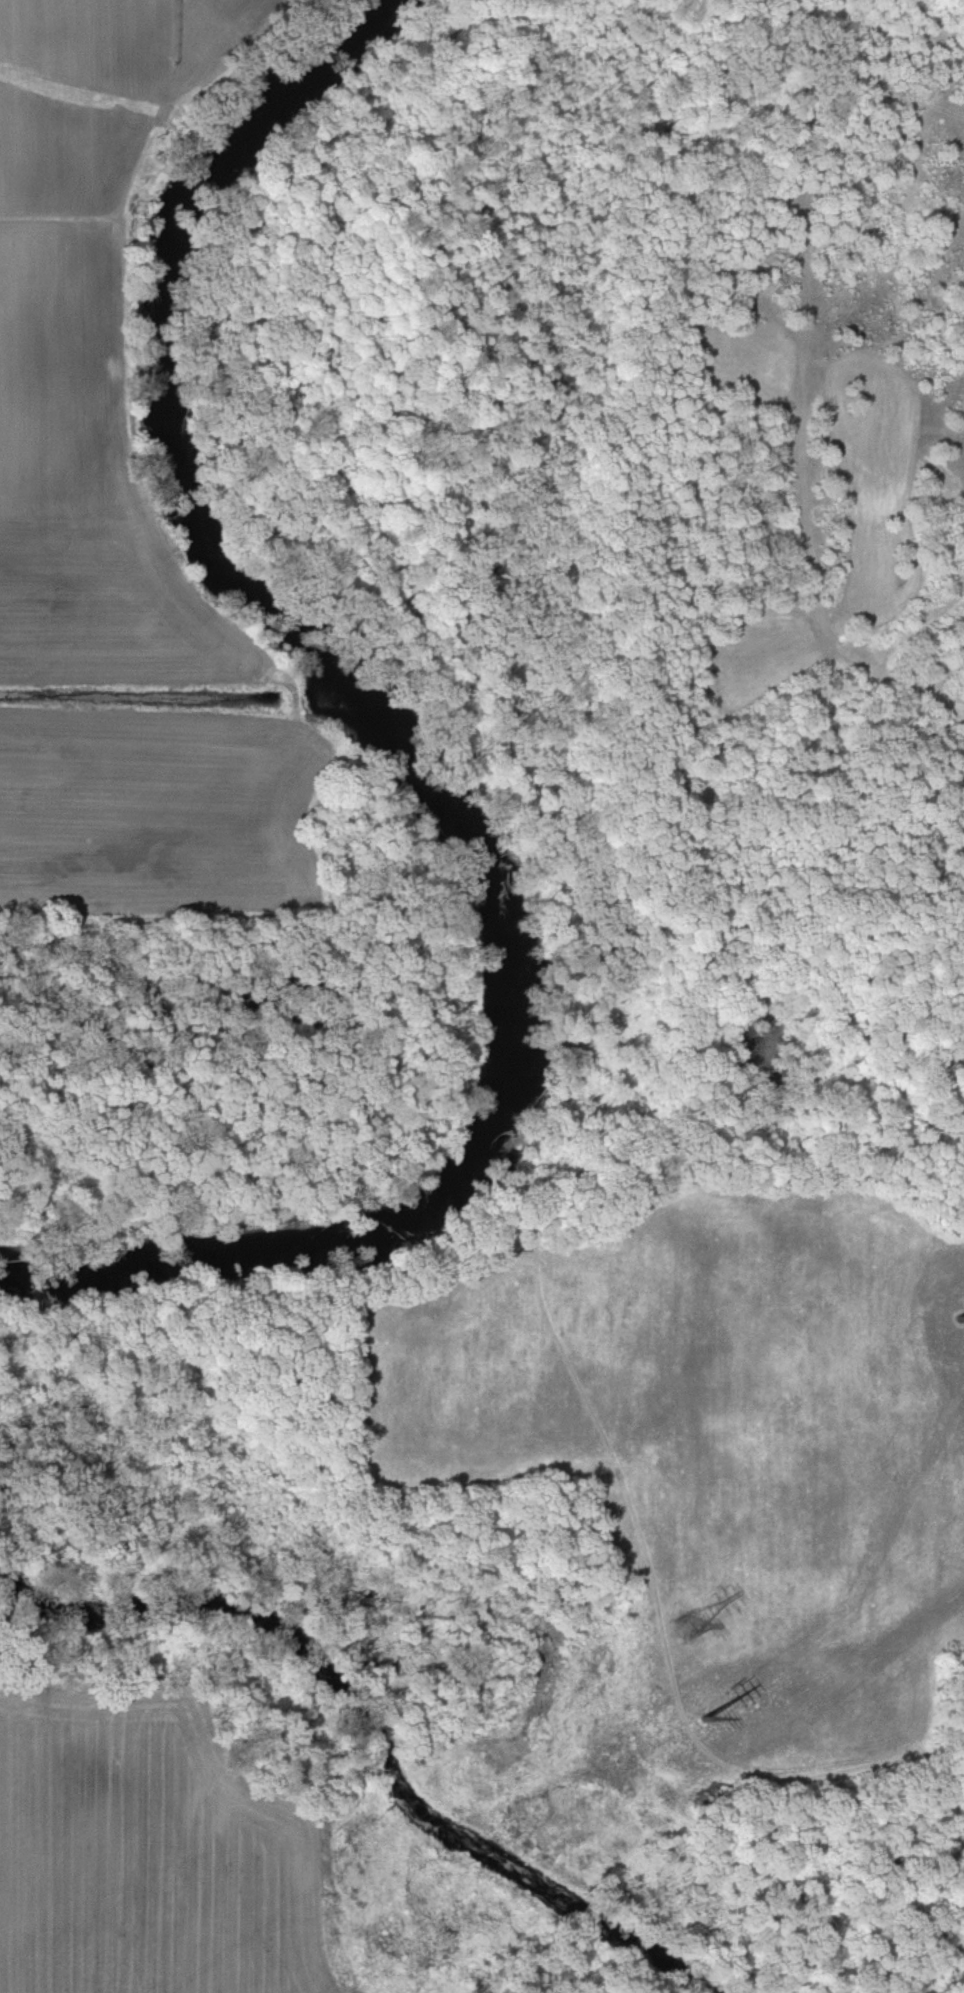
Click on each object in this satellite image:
river: (418, 765)
power tower: (957, 1309)
power tower: (682, 1626)
power tower: (702, 1707)

